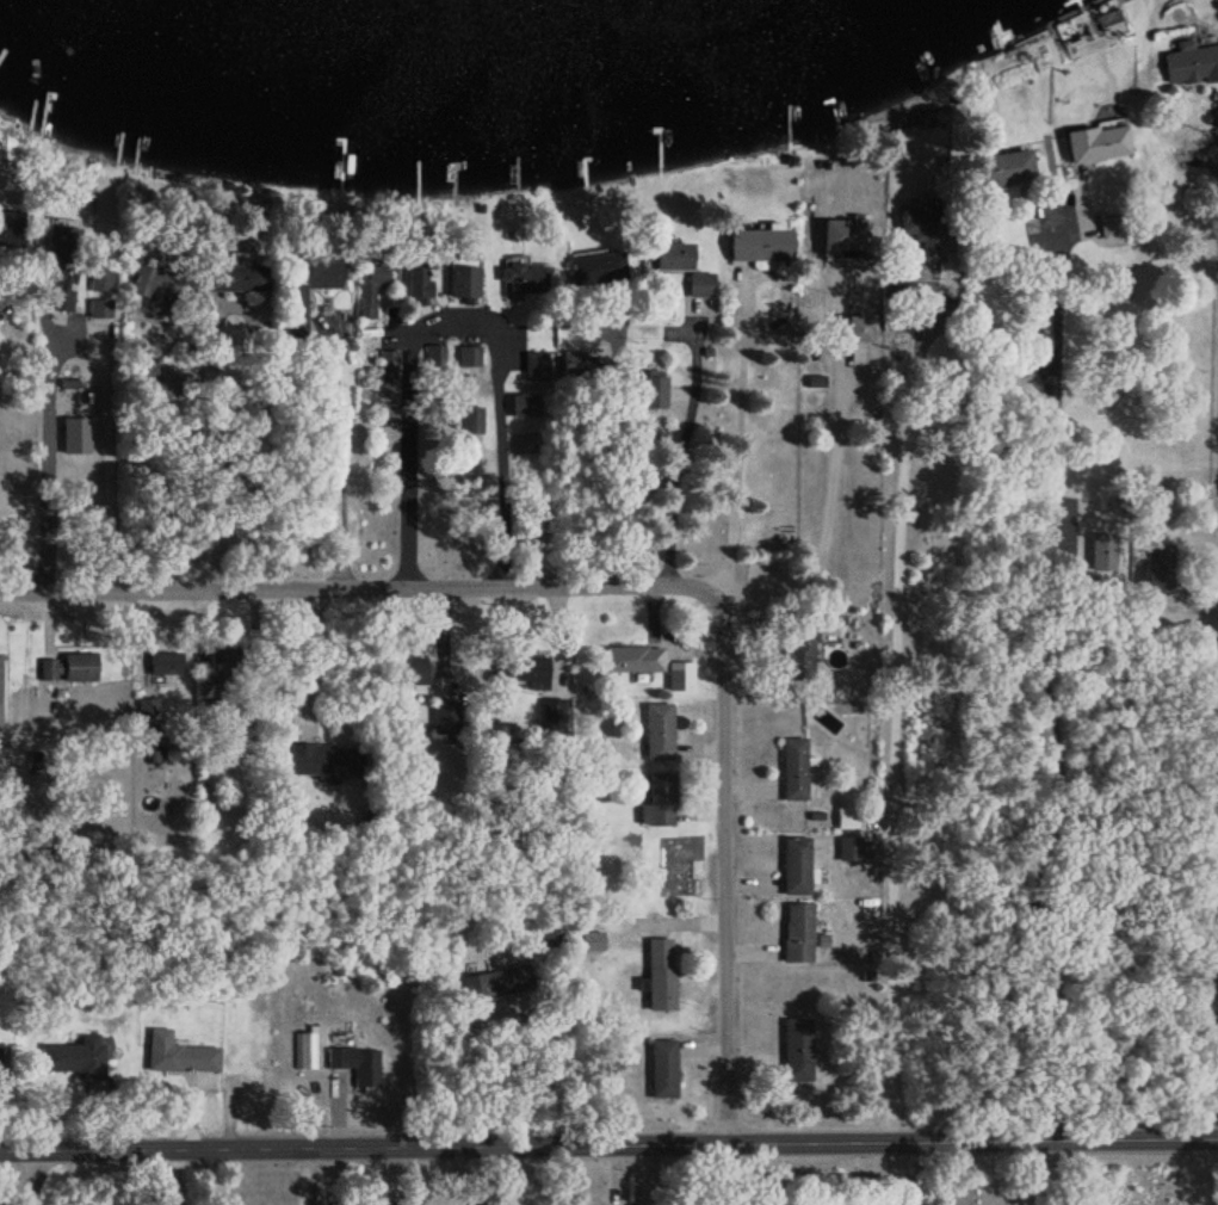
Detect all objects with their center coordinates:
building: (1191, 63)
building: (1096, 142)
road: (1216, 160)
building: (1003, 167)
building: (10, 228)
building: (1112, 229)
building: (923, 233)
building: (841, 235)
building: (760, 243)
building: (680, 264)
building: (596, 267)
building: (99, 271)
building: (237, 277)
building: (524, 277)
building: (896, 277)
building: (463, 280)
building: (419, 282)
building: (305, 284)
building: (154, 286)
building: (370, 288)
building: (62, 290)
building: (99, 308)
road: (455, 315)
building: (1177, 317)
building: (857, 328)
road: (78, 340)
building: (434, 354)
building: (469, 354)
building: (573, 363)
building: (387, 365)
building: (536, 365)
road: (210, 376)
building: (653, 390)
building: (525, 404)
building: (470, 419)
building: (74, 435)
road: (736, 439)
road: (682, 447)
road: (336, 449)
road: (175, 468)
road: (592, 470)
road: (831, 508)
building: (245, 511)
building: (1156, 570)
road: (351, 588)
building: (800, 653)
road: (310, 657)
building: (632, 659)
building: (163, 662)
building: (224, 663)
building: (67, 667)
building: (407, 669)
building: (526, 669)
building: (679, 675)
road: (1028, 709)
building: (444, 716)
building: (657, 731)
road: (872, 746)
building: (324, 760)
building: (793, 770)
building: (657, 801)
building: (852, 848)
road: (724, 863)
building: (795, 866)
building: (797, 933)
building: (550, 935)
building: (592, 941)
building: (659, 974)
building: (495, 982)
building: (796, 1045)
building: (179, 1053)
building: (75, 1056)
building: (355, 1062)
building: (662, 1068)
road: (543, 1077)
road: (608, 1143)
road: (1022, 1173)
road: (641, 1174)
road: (848, 1174)
road: (774, 1175)
road: (32, 1178)

